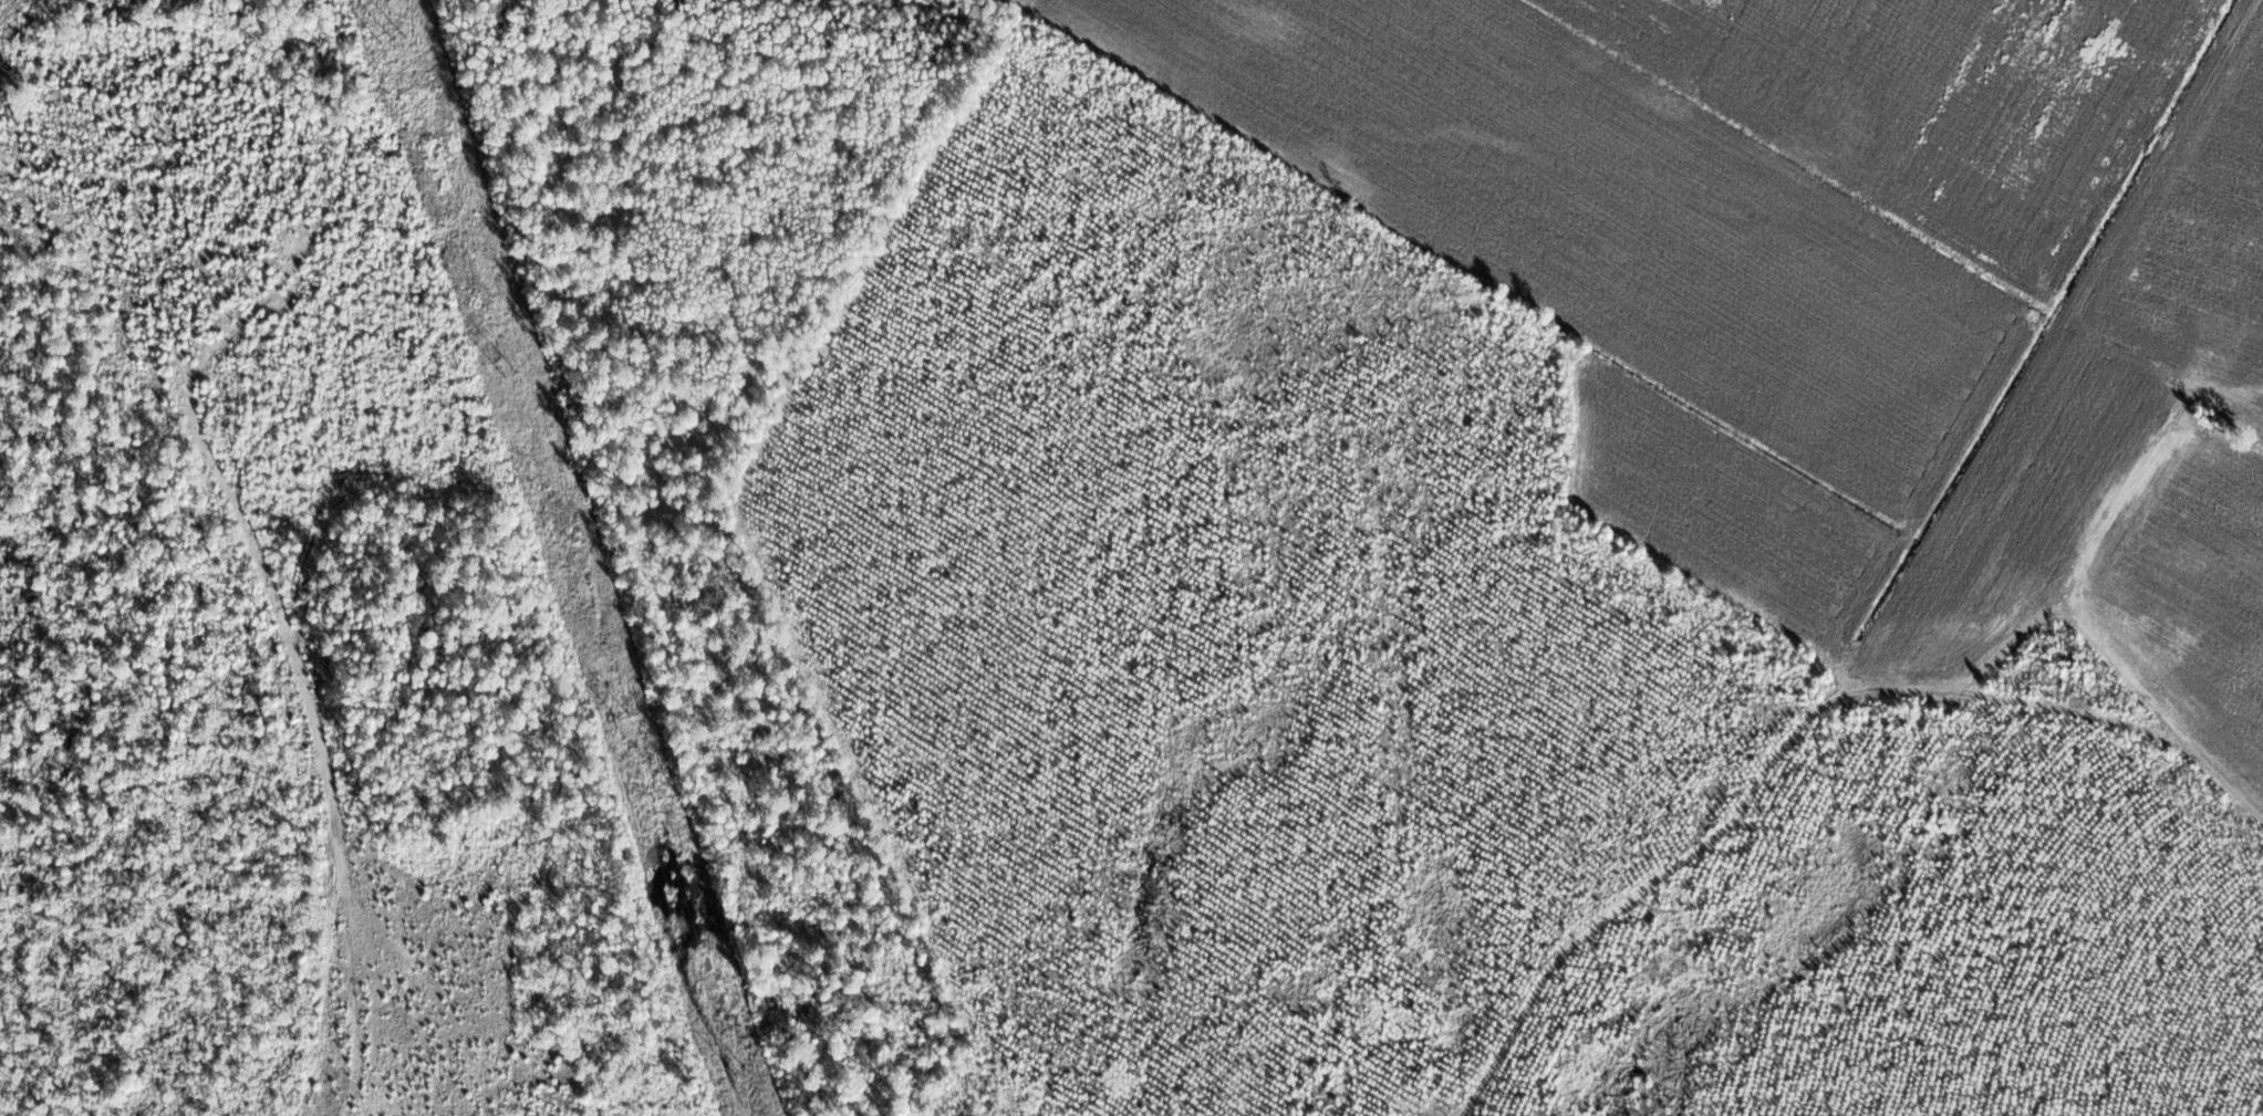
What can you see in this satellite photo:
power tower: (392, 39)
road: (1557, 678)
power tower: (621, 716)
road: (1865, 859)
power tower: (743, 1075)

